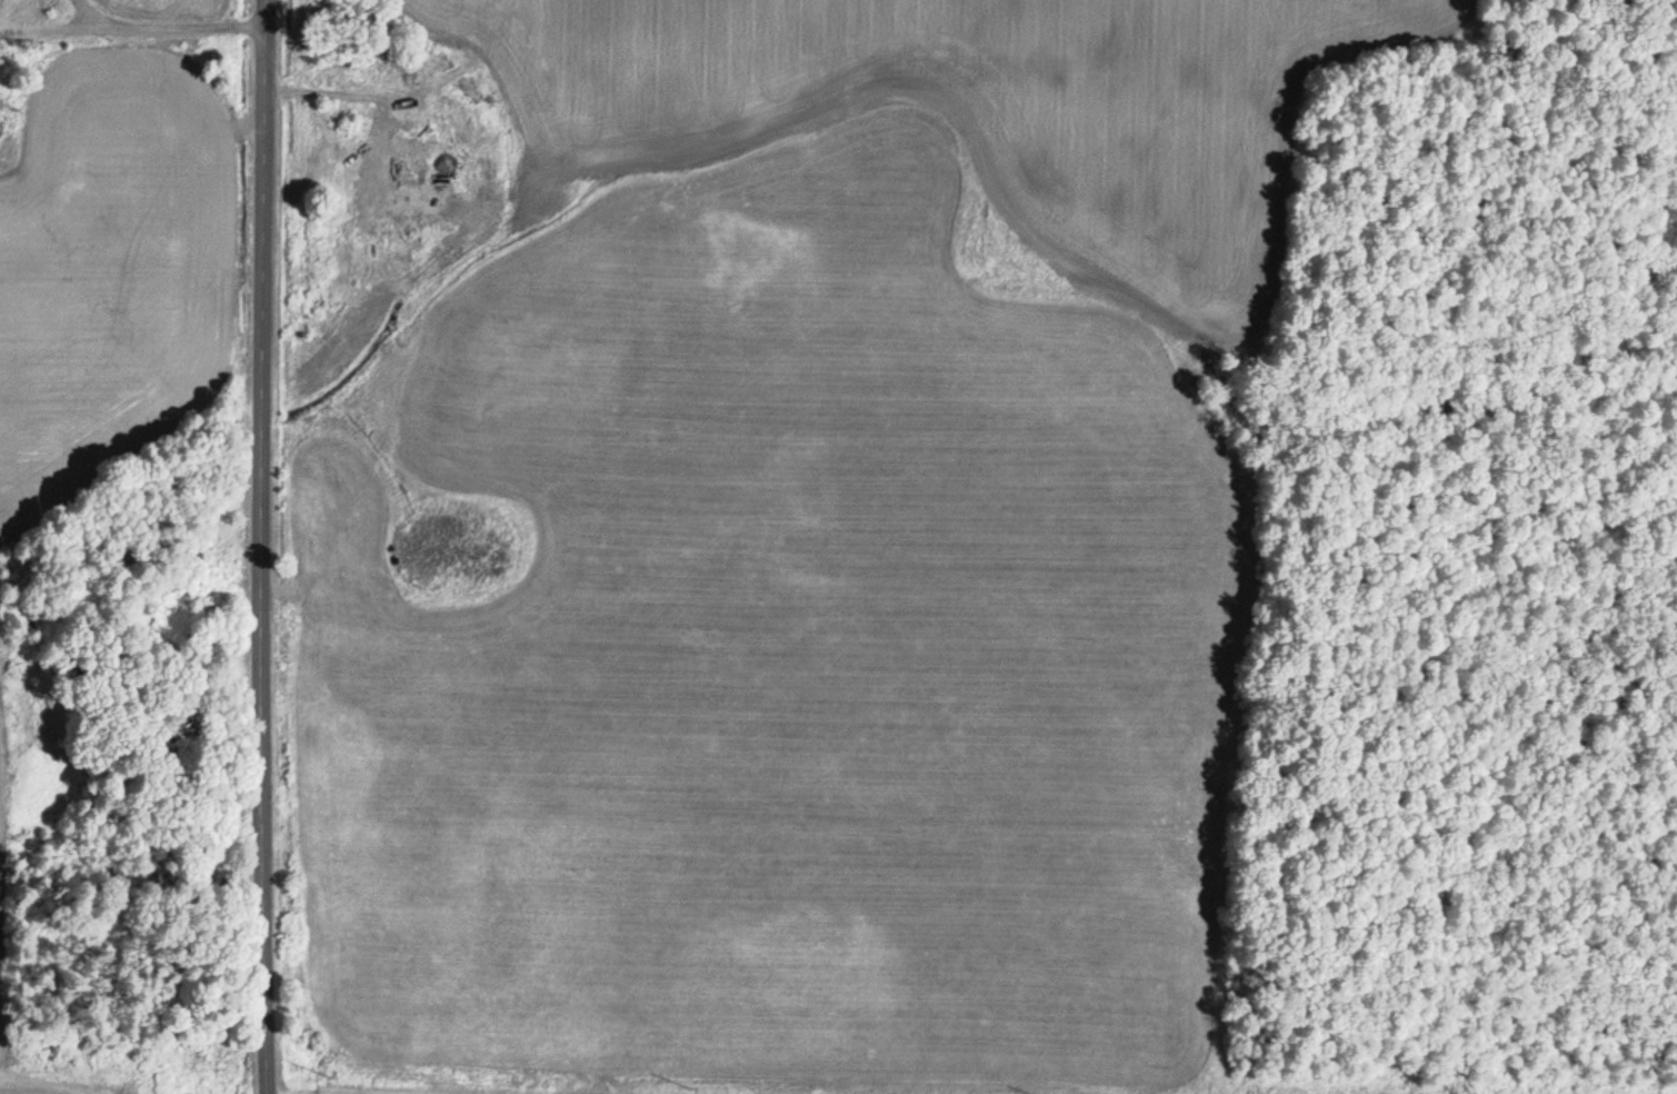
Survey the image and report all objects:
road: (257, 547)

